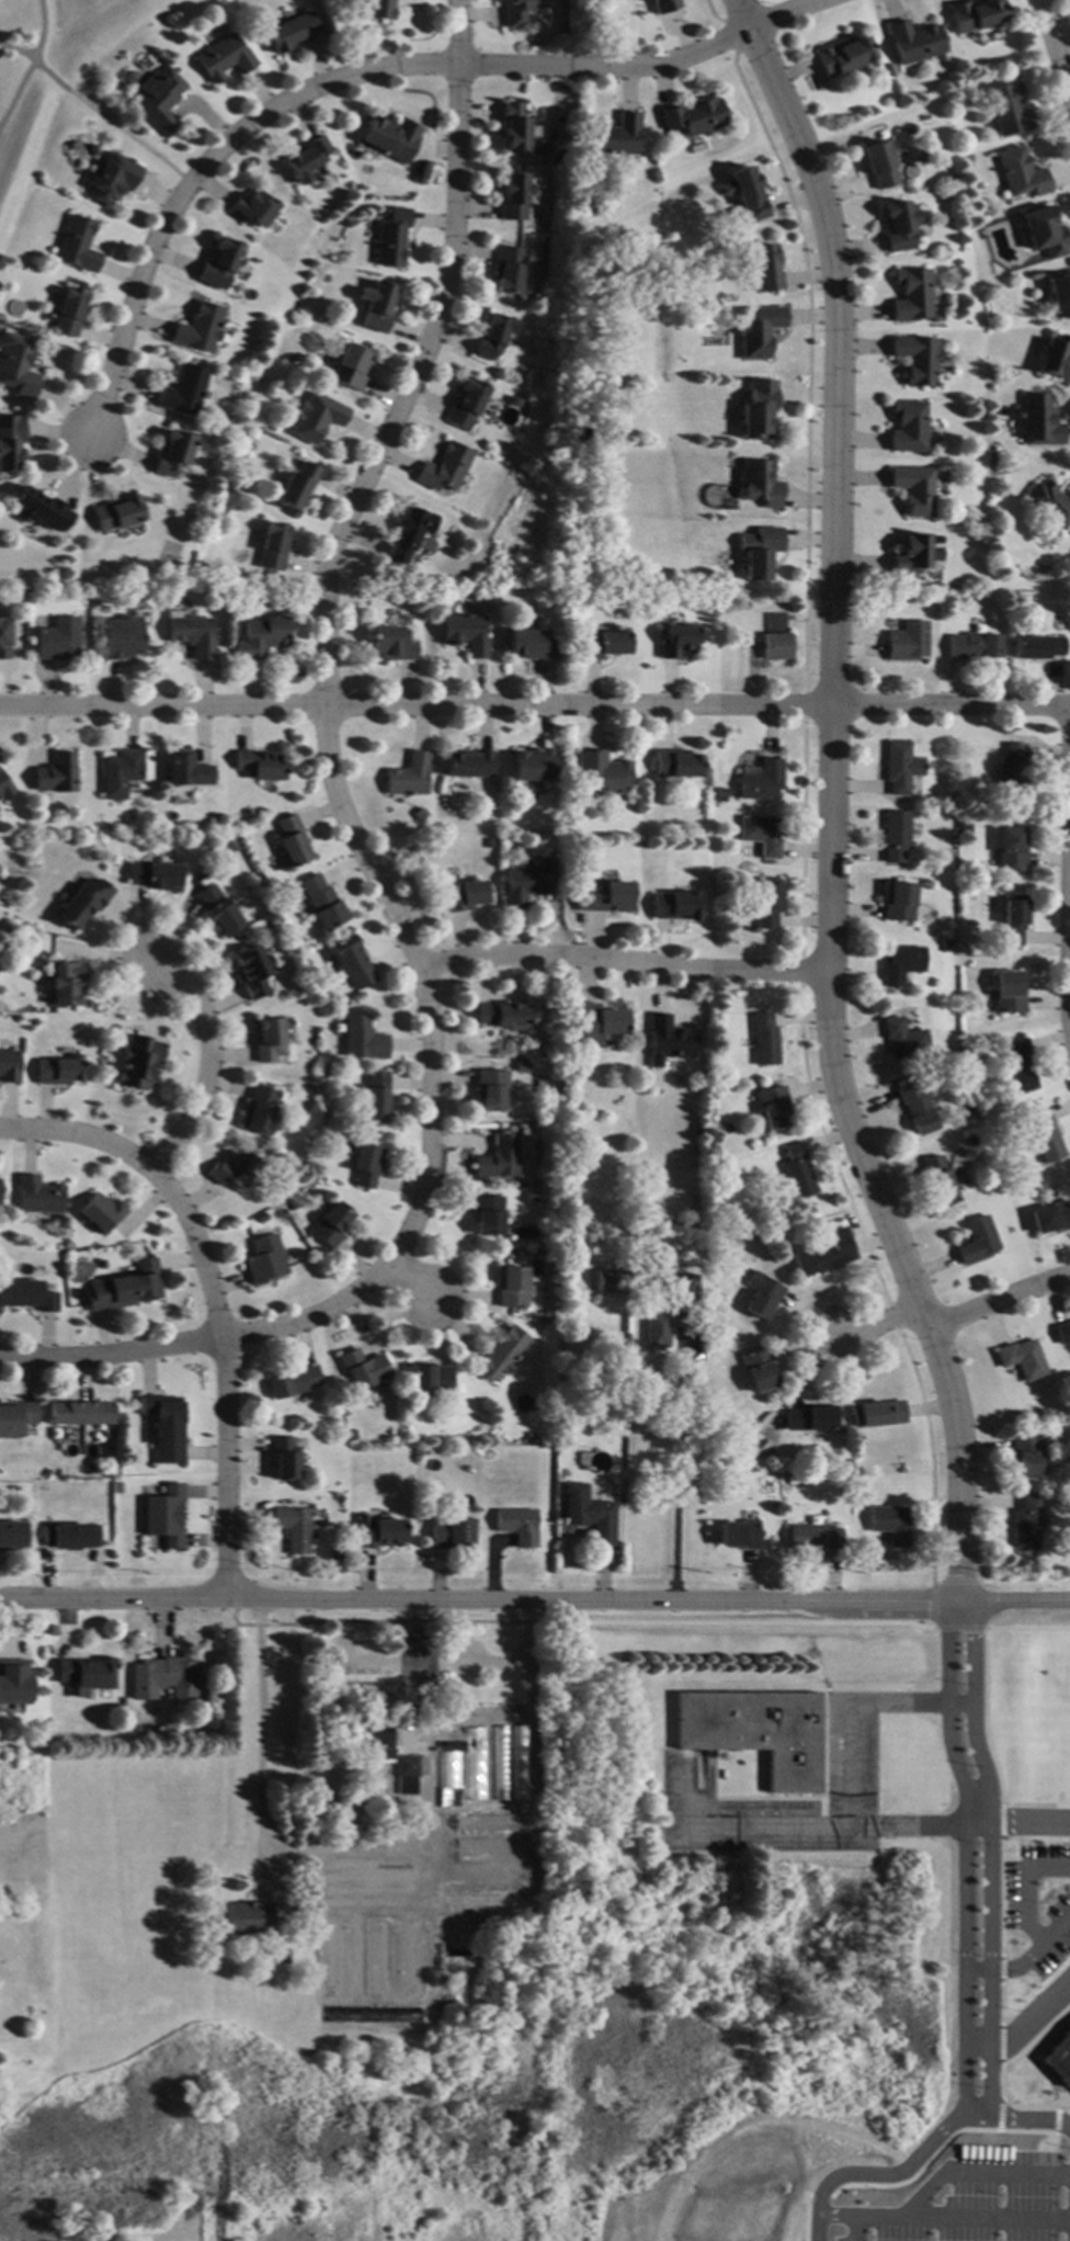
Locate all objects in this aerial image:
building: (662, 4)
building: (376, 9)
building: (514, 12)
building: (975, 14)
road: (42, 32)
building: (293, 32)
road: (457, 33)
building: (914, 41)
road: (1054, 48)
road: (18, 50)
building: (842, 55)
building: (223, 58)
road: (657, 63)
park: (50, 64)
road: (16, 94)
building: (158, 99)
building: (1006, 109)
building: (694, 116)
road: (112, 123)
building: (515, 127)
building: (613, 135)
building: (390, 138)
building: (91, 150)
building: (305, 161)
building: (877, 163)
road: (201, 169)
building: (1021, 173)
building: (111, 179)
building: (745, 194)
building: (515, 196)
building: (251, 208)
building: (897, 226)
building: (1043, 233)
building: (391, 237)
building: (76, 245)
building: (219, 262)
building: (764, 268)
building: (511, 270)
building: (910, 295)
building: (1059, 296)
building: (375, 306)
building: (67, 313)
building: (197, 327)
building: (758, 330)
building: (496, 336)
building: (1054, 355)
building: (915, 358)
building: (289, 359)
building: (16, 365)
building: (349, 366)
building: (182, 389)
building: (467, 403)
building: (759, 409)
building: (315, 417)
building: (1037, 419)
building: (907, 425)
building: (10, 441)
building: (172, 451)
building: (446, 467)
building: (760, 483)
building: (297, 484)
building: (912, 489)
building: (1049, 503)
building: (38, 508)
building: (117, 512)
building: (191, 519)
building: (409, 533)
building: (272, 547)
building: (759, 550)
building: (909, 555)
building: (703, 600)
building: (464, 633)
building: (192, 635)
building: (260, 636)
building: (774, 636)
building: (3, 637)
building: (119, 637)
building: (56, 638)
building: (674, 641)
building: (907, 642)
building: (390, 644)
building: (531, 644)
building: (602, 644)
building: (974, 646)
building: (1037, 647)
road: (322, 670)
road: (534, 706)
building: (468, 763)
building: (674, 765)
building: (259, 766)
building: (532, 766)
building: (900, 767)
building: (186, 770)
building: (1013, 770)
building: (602, 772)
building: (55, 773)
building: (118, 773)
building: (408, 776)
building: (760, 781)
building: (3, 790)
building: (719, 792)
road: (829, 802)
building: (997, 816)
building: (760, 835)
building: (895, 836)
building: (228, 841)
building: (291, 841)
building: (489, 842)
building: (1010, 848)
building: (155, 876)
building: (743, 883)
building: (525, 885)
building: (466, 895)
building: (604, 897)
building: (83, 903)
building: (321, 903)
building: (766, 903)
building: (896, 903)
building: (674, 906)
building: (218, 909)
building: (1011, 920)
road: (1068, 929)
building: (966, 943)
road: (622, 959)
building: (352, 962)
building: (899, 964)
building: (251, 970)
building: (66, 983)
building: (1008, 993)
building: (503, 1016)
building: (594, 1023)
building: (270, 1038)
building: (668, 1038)
building: (362, 1039)
building: (903, 1039)
building: (764, 1041)
building: (941, 1052)
road: (209, 1059)
building: (138, 1062)
building: (1017, 1065)
building: (9, 1066)
building: (521, 1067)
building: (59, 1069)
building: (491, 1089)
building: (375, 1097)
building: (773, 1107)
building: (915, 1108)
building: (259, 1110)
building: (964, 1110)
building: (694, 1129)
road: (80, 1136)
building: (1044, 1136)
building: (970, 1140)
building: (716, 1156)
building: (498, 1157)
building: (365, 1165)
building: (235, 1170)
building: (798, 1173)
building: (938, 1180)
building: (37, 1196)
building: (291, 1204)
building: (100, 1212)
building: (487, 1214)
building: (261, 1218)
building: (1051, 1218)
building: (331, 1224)
building: (976, 1241)
building: (815, 1259)
building: (264, 1260)
building: (100, 1265)
building: (608, 1281)
road: (412, 1283)
building: (685, 1283)
building: (512, 1287)
building: (125, 1288)
building: (27, 1295)
building: (764, 1297)
road: (999, 1297)
building: (681, 1314)
road: (884, 1331)
building: (654, 1332)
building: (1062, 1333)
road: (204, 1339)
building: (502, 1352)
building: (1022, 1359)
building: (362, 1369)
building: (758, 1369)
road: (226, 1374)
building: (430, 1379)
building: (292, 1382)
building: (79, 1413)
building: (877, 1414)
building: (811, 1418)
building: (16, 1419)
building: (164, 1427)
building: (352, 1435)
building: (755, 1441)
building: (1025, 1456)
building: (284, 1459)
building: (46, 1473)
road: (678, 1473)
building: (105, 1475)
building: (1068, 1505)
building: (590, 1514)
building: (164, 1516)
building: (890, 1524)
building: (1025, 1524)
building: (517, 1526)
building: (294, 1528)
building: (379, 1532)
building: (451, 1535)
building: (739, 1535)
building: (11, 1536)
building: (70, 1536)
building: (813, 1537)
building: (335, 1557)
road: (534, 1601)
road: (473, 1662)
building: (83, 1675)
building: (162, 1678)
building: (14, 1683)
road: (255, 1714)
building: (509, 1714)
building: (39, 1724)
building: (756, 1732)
building: (445, 1733)
building: (373, 1741)
building: (500, 1762)
building: (520, 1763)
building: (460, 1768)
building: (408, 1773)
road: (850, 1775)
building: (491, 1823)
road: (1016, 1826)
road: (770, 1830)
building: (491, 1849)
road: (964, 1854)
road: (990, 1854)
building: (482, 1899)
building: (246, 1917)
building: (466, 1924)
building: (281, 1957)
building: (374, 1958)
building: (407, 1958)
building: (333, 1959)
road: (1024, 2028)
building: (1059, 2058)
road: (921, 2151)
road: (977, 2172)
road: (943, 2217)
road: (854, 2228)

